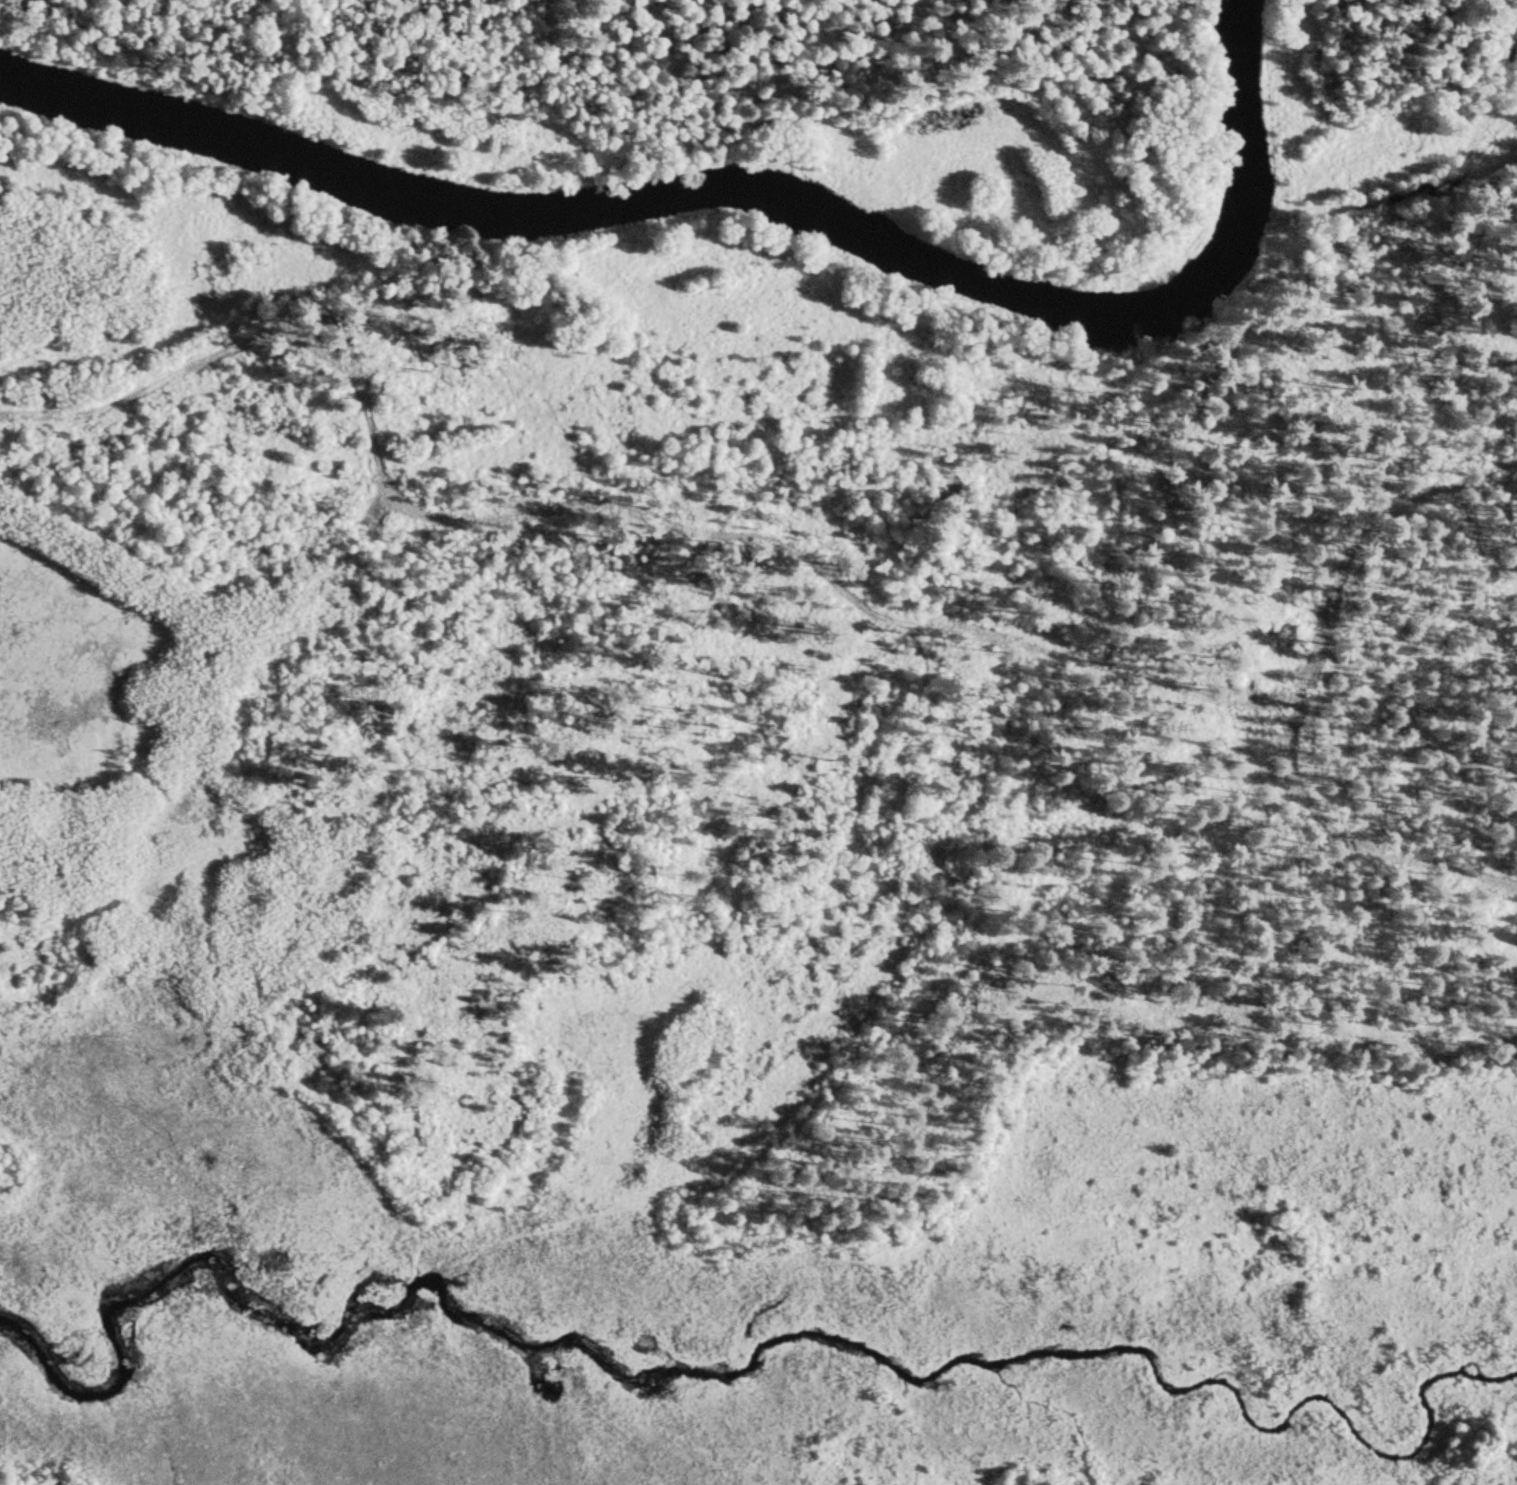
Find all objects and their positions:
river: (754, 191)

